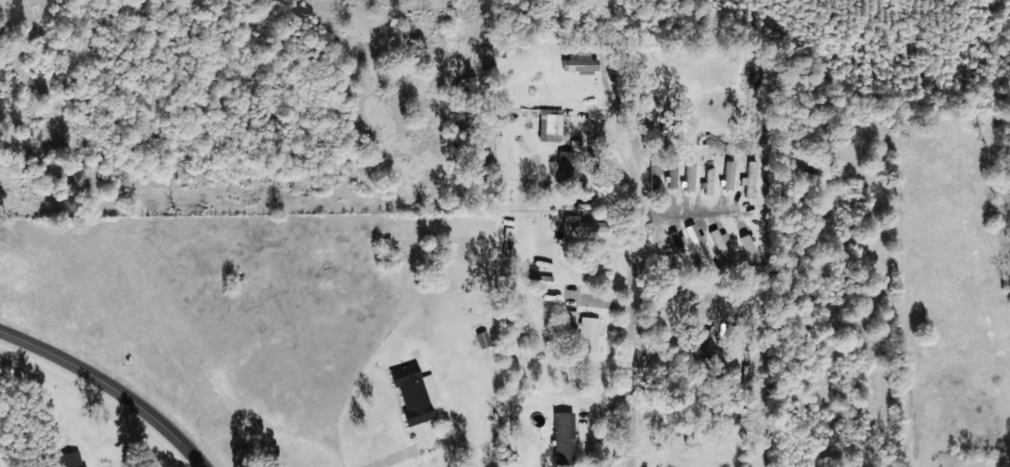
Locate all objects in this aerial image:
building: (580, 60)
building: (549, 124)
building: (569, 163)
building: (688, 177)
building: (707, 177)
building: (748, 179)
building: (583, 225)
road: (614, 233)
building: (720, 245)
building: (698, 246)
building: (657, 249)
building: (679, 249)
building: (583, 330)
building: (482, 338)
building: (704, 342)
road: (108, 388)
building: (415, 393)
road: (894, 404)
building: (713, 411)
building: (563, 437)
building: (69, 459)

